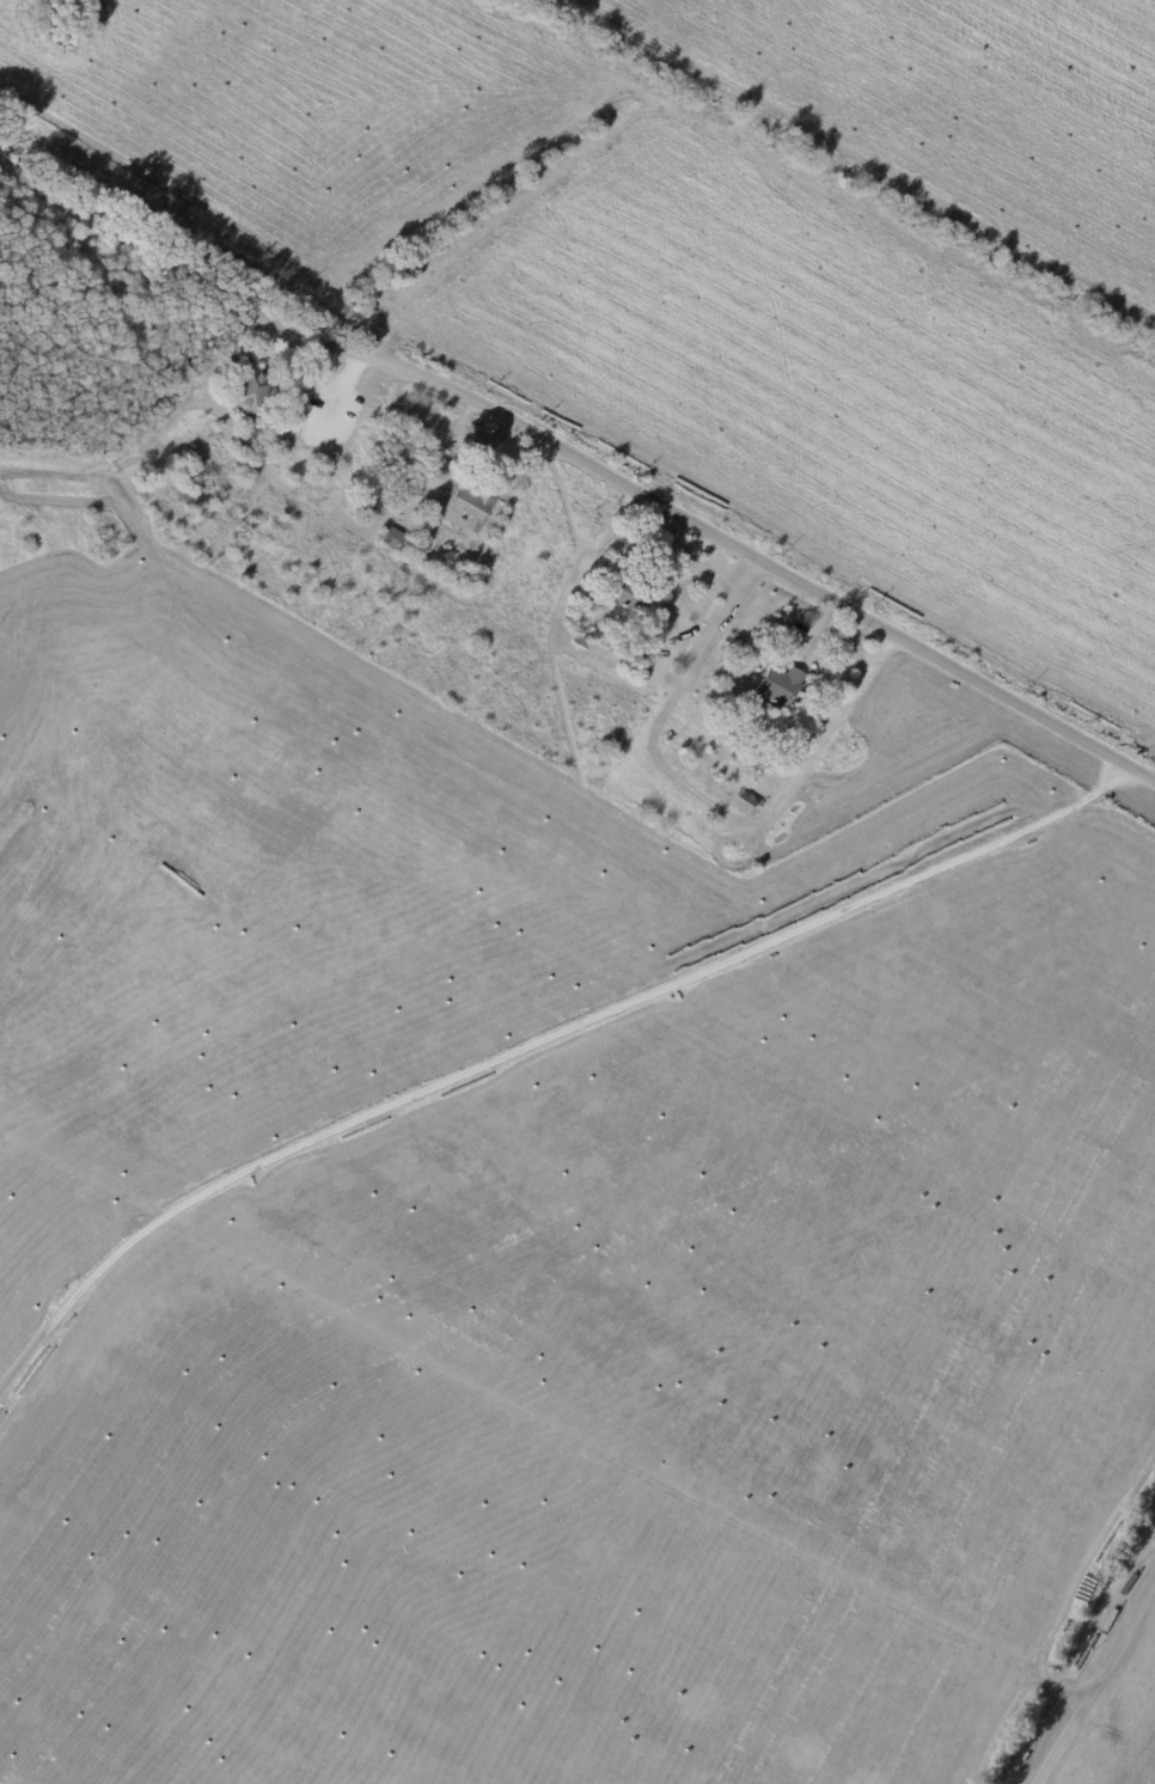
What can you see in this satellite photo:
road: (129, 245)
crop: (713, 257)
parking lot: (298, 344)
building: (256, 393)
building: (250, 442)
building: (402, 446)
road: (130, 459)
building: (414, 487)
building: (363, 509)
building: (463, 509)
road: (685, 530)
building: (390, 539)
building: (625, 594)
building: (579, 642)
building: (641, 659)
building: (777, 685)
building: (746, 823)
crop: (550, 1250)
road: (1105, 1686)

